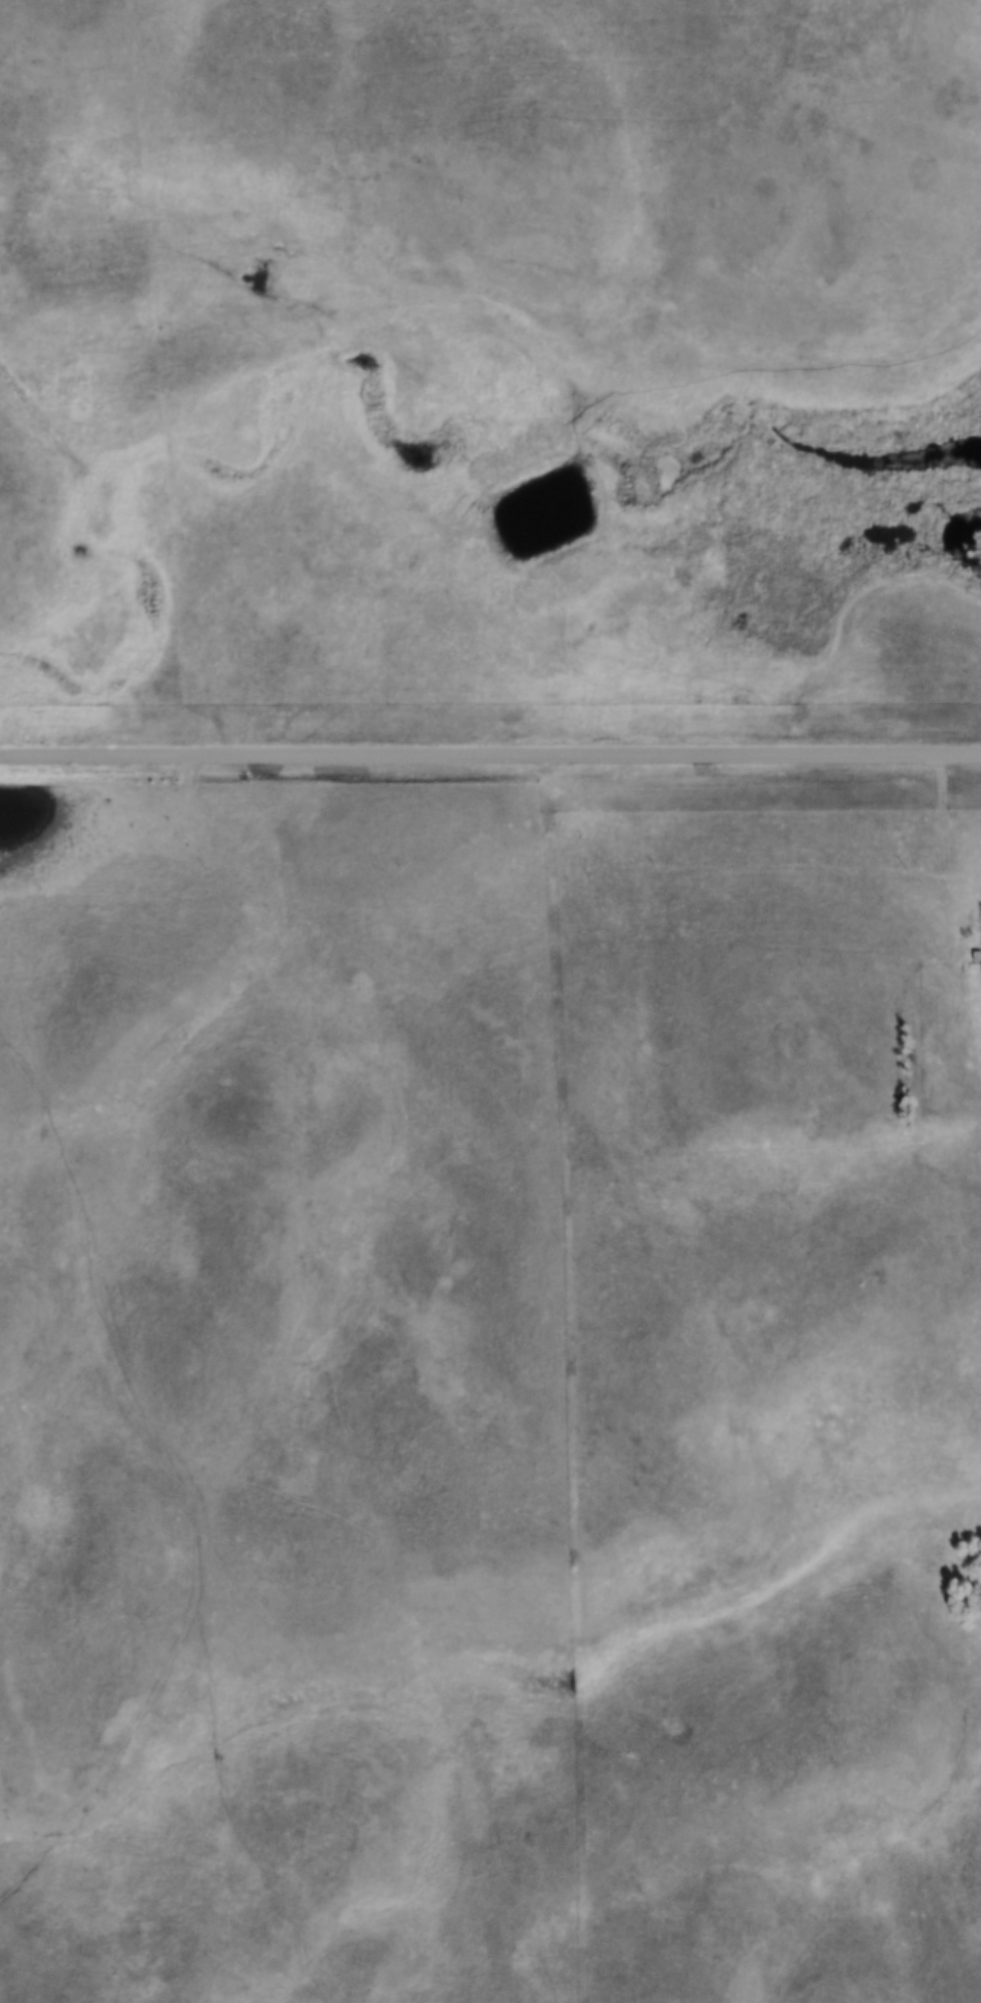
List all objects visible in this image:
road: (490, 758)
road: (946, 844)

